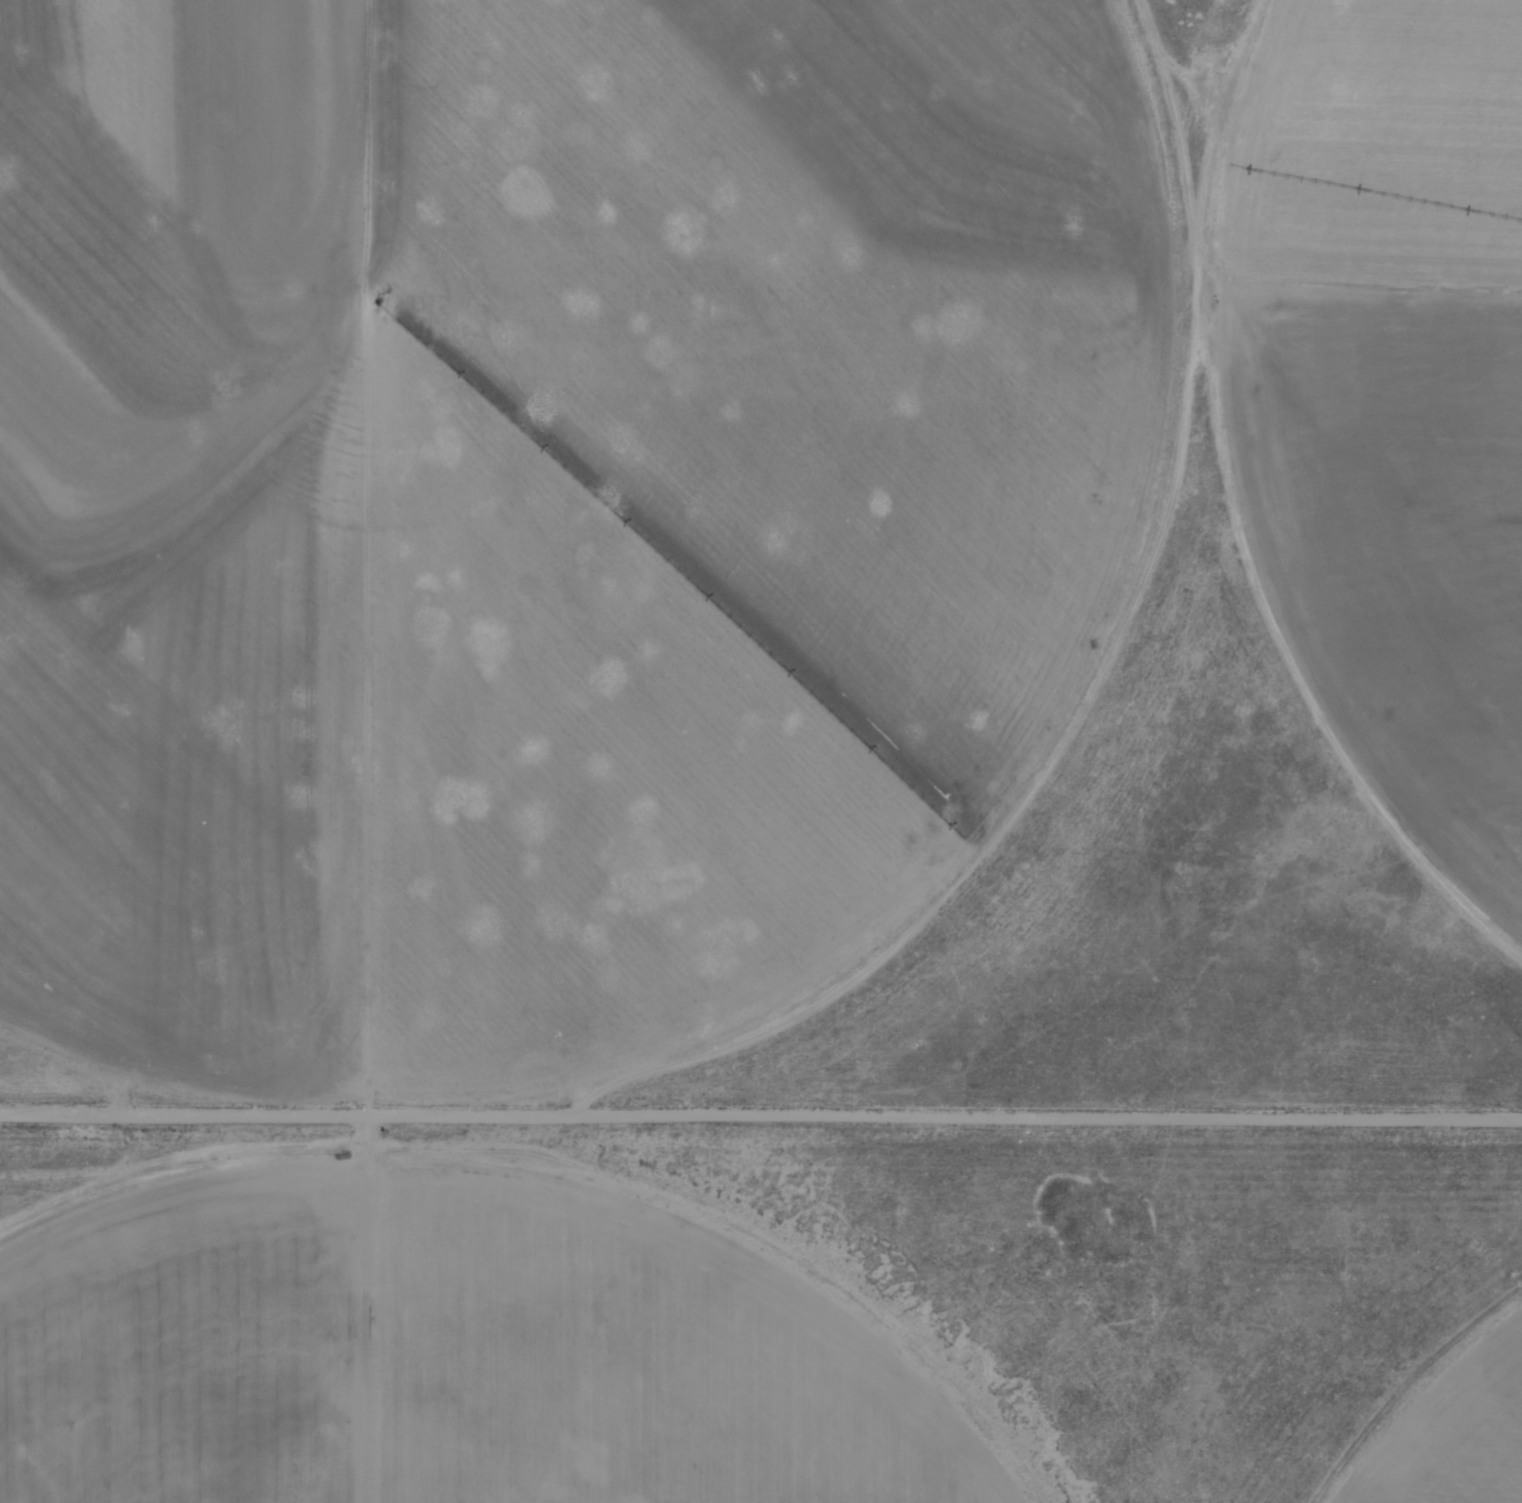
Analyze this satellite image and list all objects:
road: (761, 1120)

